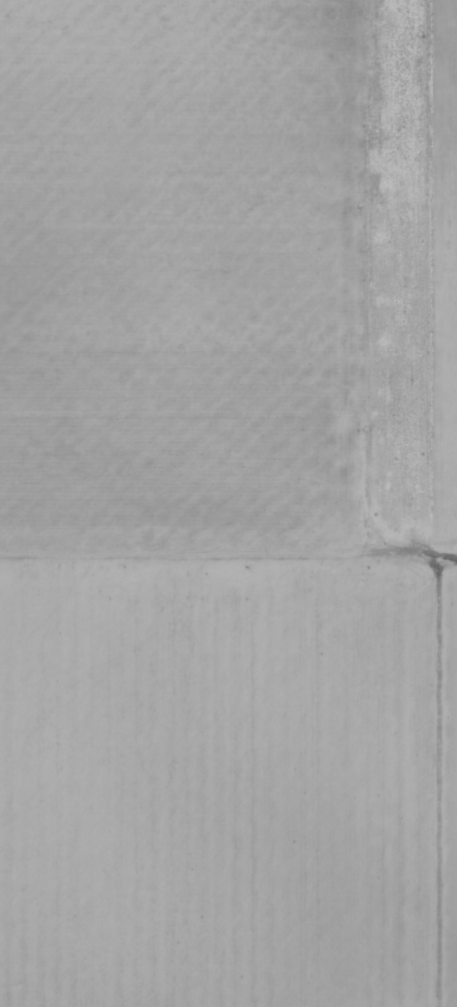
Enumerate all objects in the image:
road: (443, 562)

